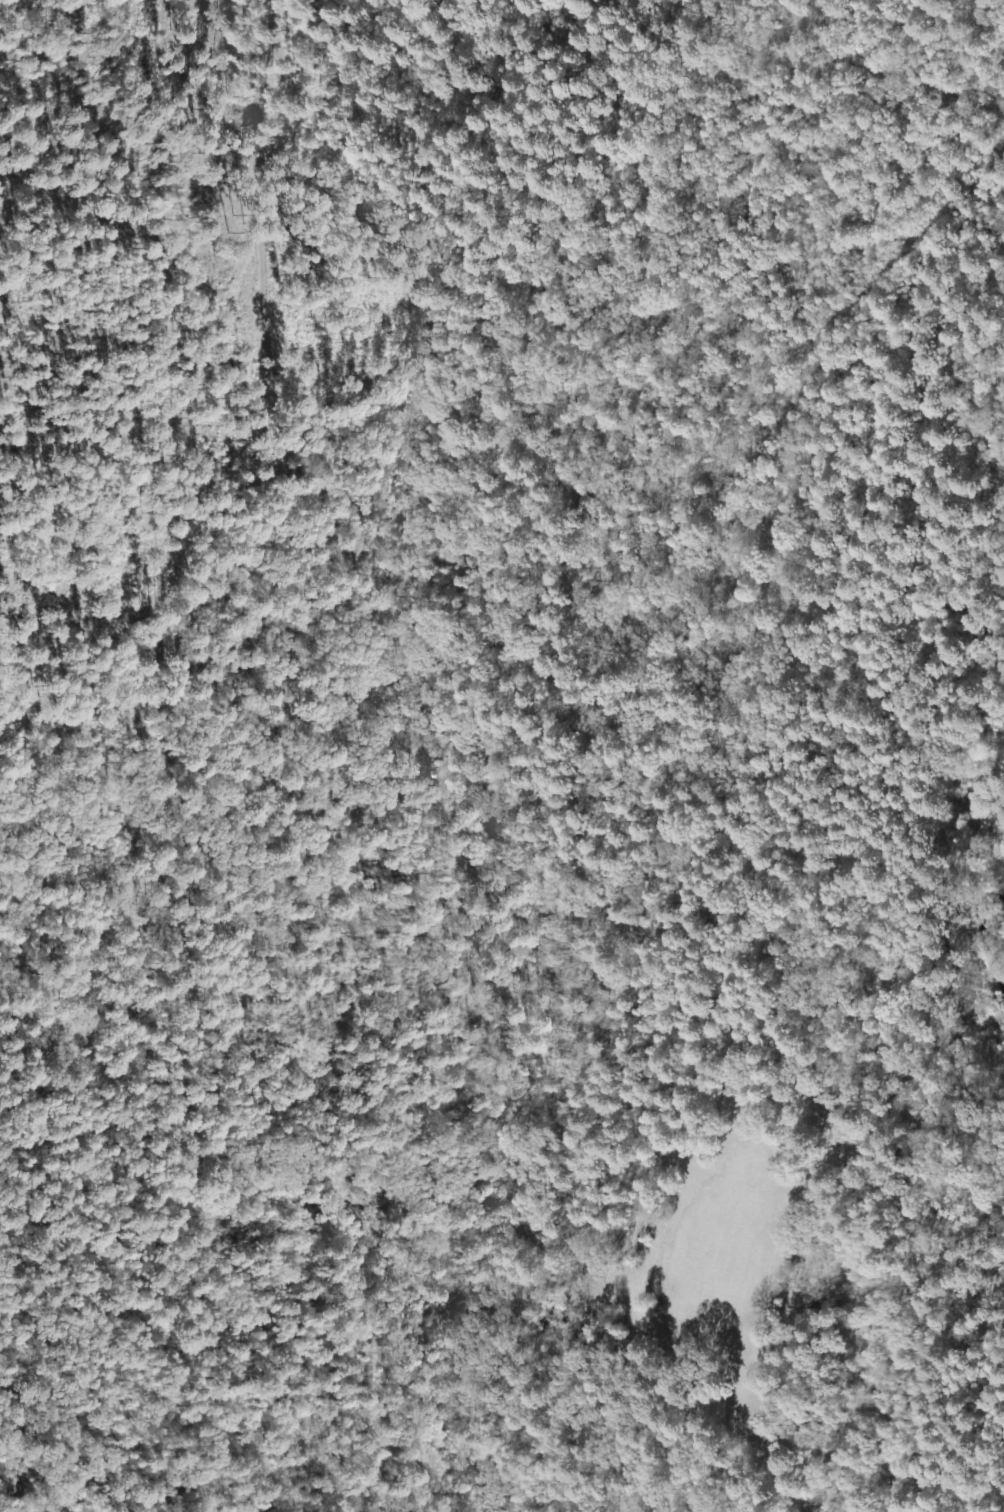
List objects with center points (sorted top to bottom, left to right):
park: (240, 253)
road: (289, 390)
road: (410, 1066)

